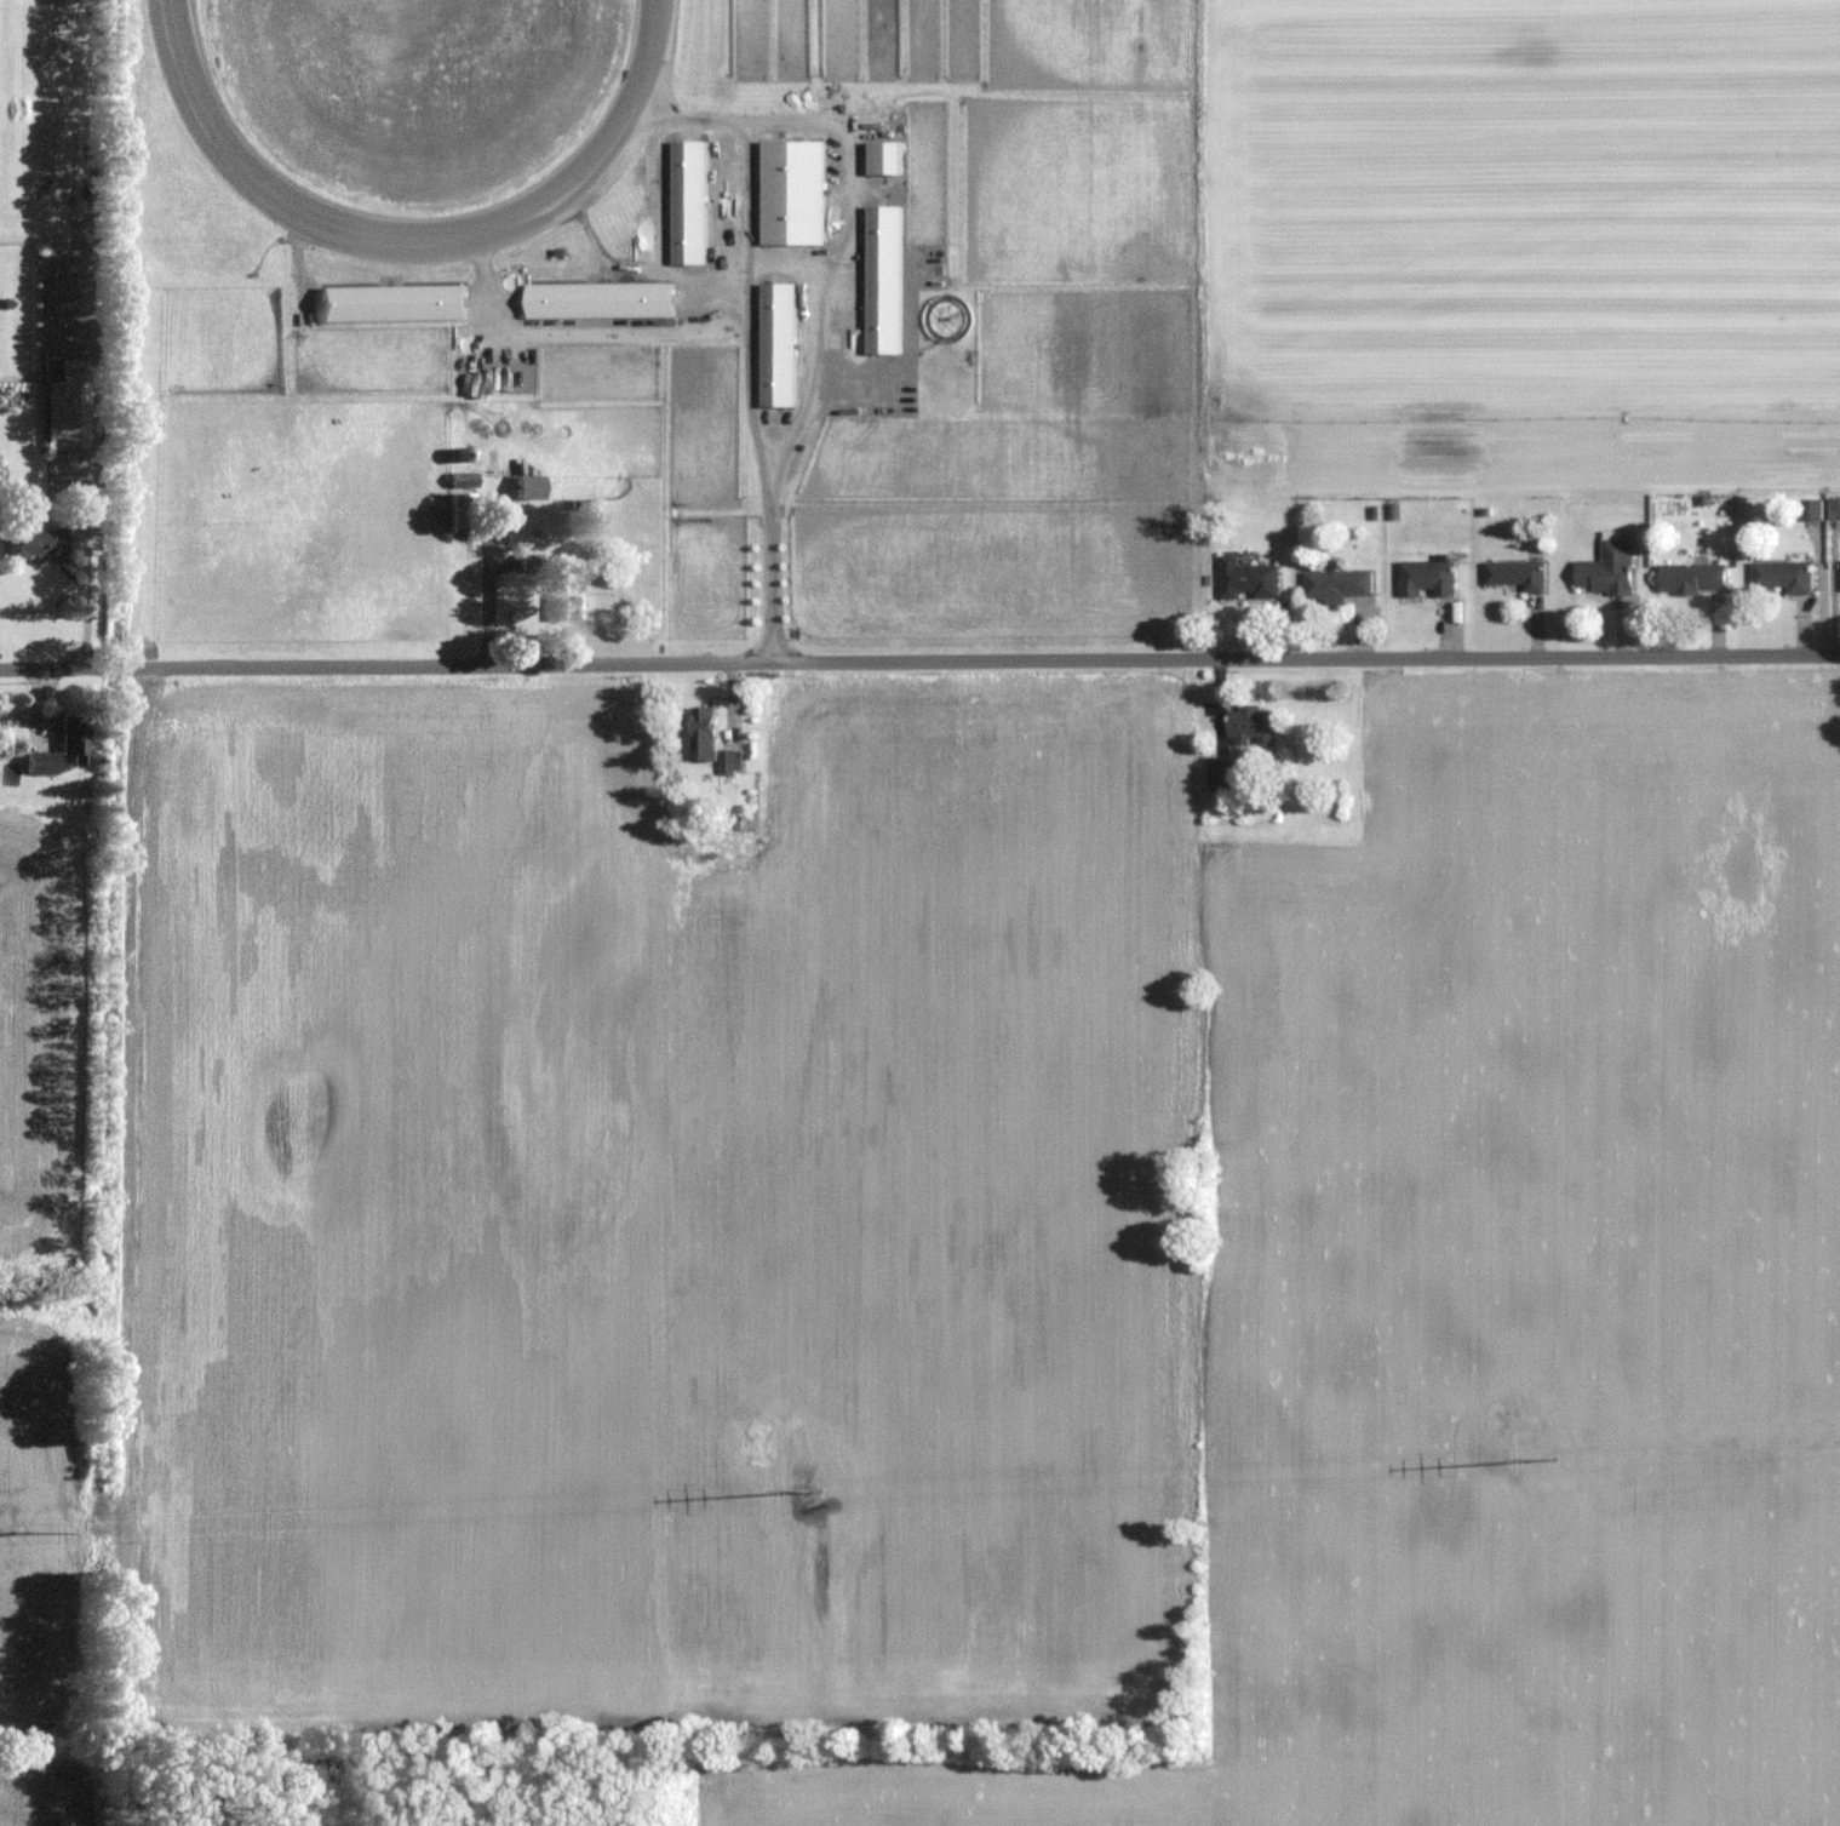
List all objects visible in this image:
building: (791, 191)
building: (70, 405)
road: (778, 463)
building: (459, 479)
building: (525, 487)
building: (1810, 509)
building: (455, 513)
building: (38, 540)
building: (525, 563)
building: (1606, 568)
building: (1514, 574)
building: (1783, 576)
building: (1691, 577)
building: (1426, 578)
building: (1246, 580)
building: (1337, 584)
building: (564, 597)
road: (919, 662)
building: (1249, 725)
building: (701, 734)
building: (76, 739)
building: (732, 762)
building: (45, 763)
building: (1220, 775)
power tower: (1506, 1414)
power tower: (752, 1450)

